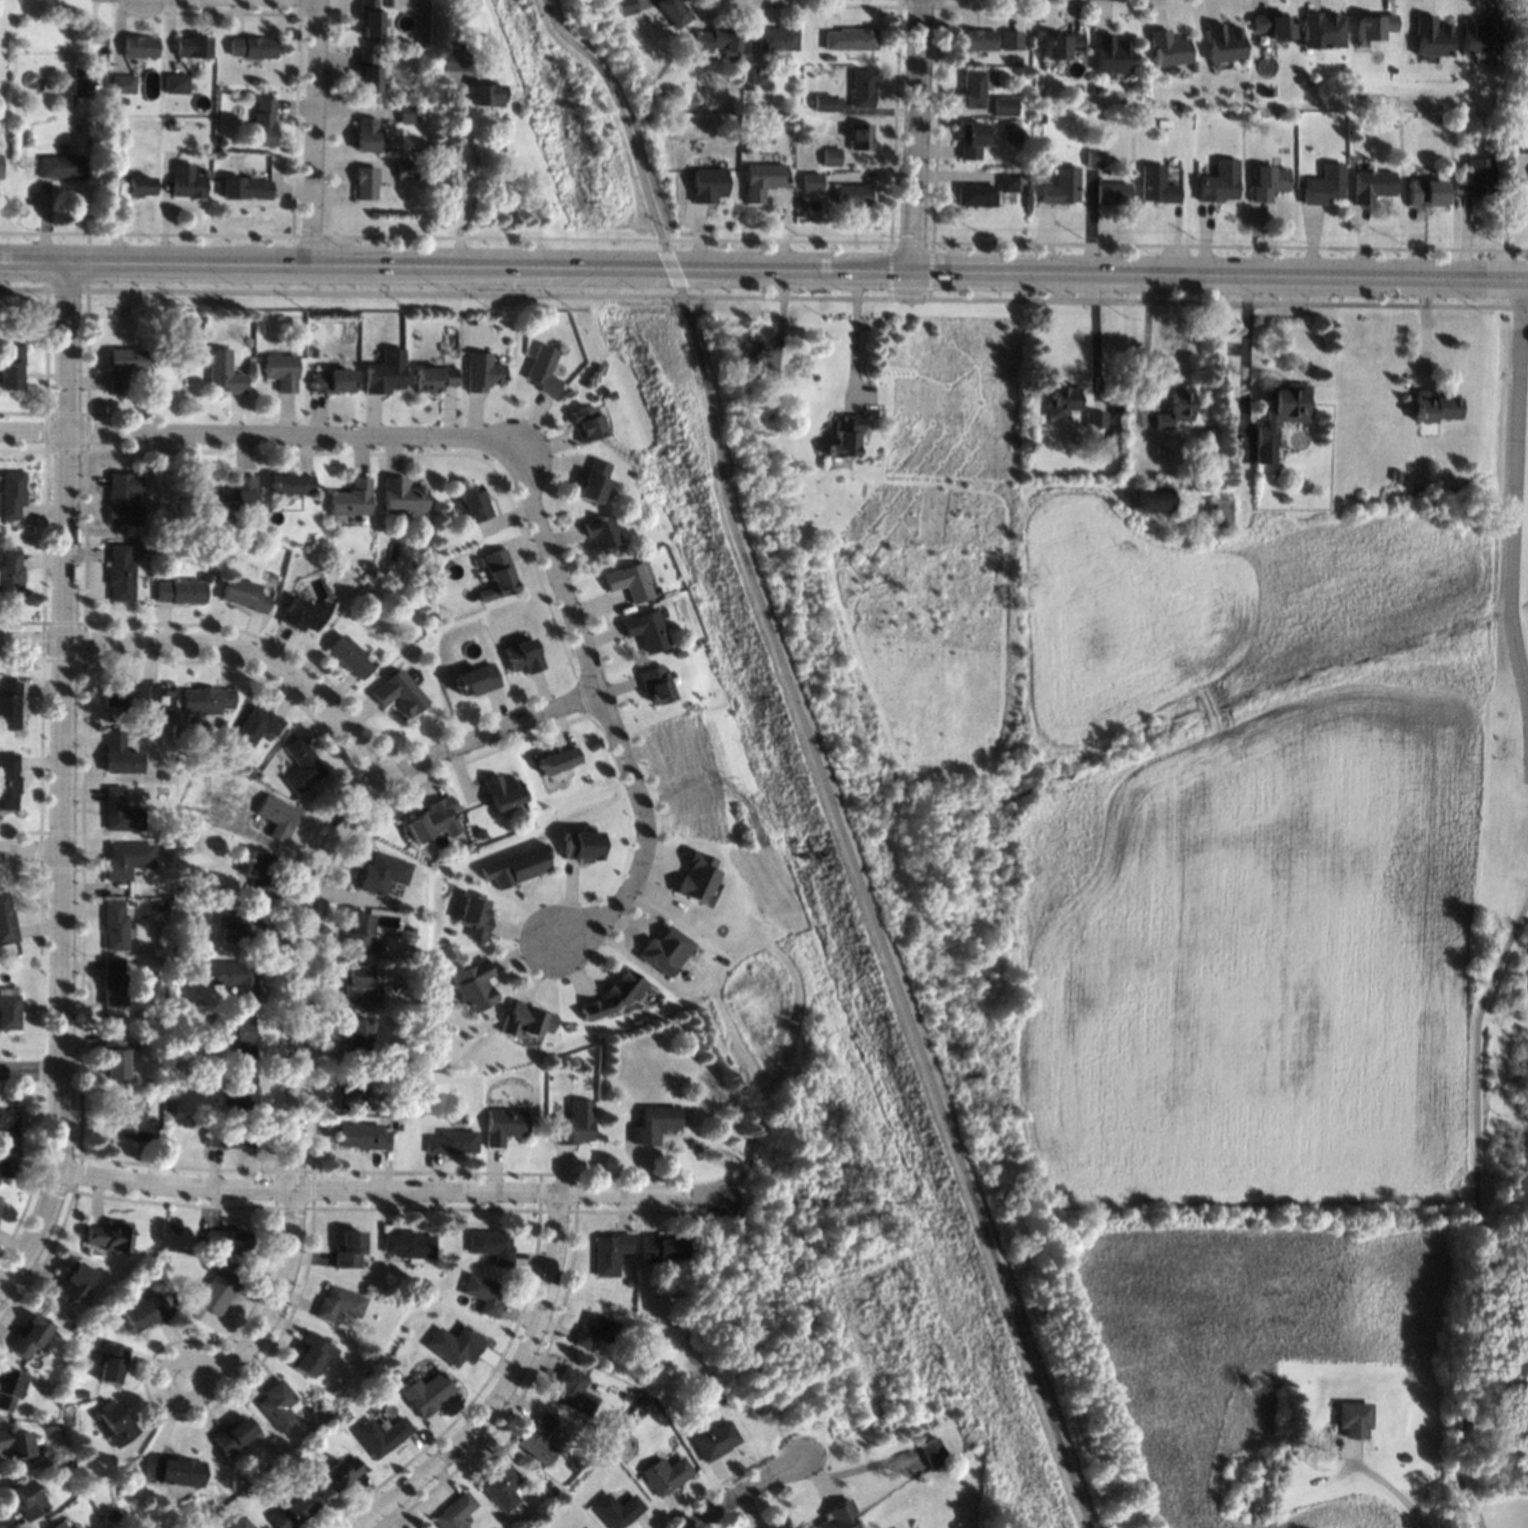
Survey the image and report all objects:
building: (387, 3)
building: (626, 6)
building: (674, 11)
building: (368, 18)
building: (1523, 20)
building: (623, 24)
building: (1372, 25)
building: (1271, 26)
building: (1320, 29)
building: (674, 35)
building: (1430, 35)
building: (1479, 35)
building: (717, 38)
building: (777, 38)
building: (850, 38)
building: (976, 38)
building: (1008, 39)
building: (1222, 42)
building: (1059, 44)
building: (138, 45)
building: (191, 46)
building: (251, 47)
building: (1166, 47)
building: (1109, 53)
building: (387, 56)
building: (829, 57)
building: (1013, 58)
building: (454, 60)
building: (366, 72)
building: (760, 75)
building: (80, 79)
building: (122, 83)
building: (174, 83)
building: (861, 87)
building: (970, 88)
building: (660, 91)
building: (486, 92)
building: (1042, 92)
building: (245, 93)
building: (120, 100)
building: (823, 101)
building: (748, 105)
building: (1001, 105)
building: (406, 113)
building: (1367, 113)
building: (93, 119)
building: (262, 122)
park: (589, 125)
road: (626, 125)
building: (1515, 125)
road: (314, 132)
building: (365, 133)
building: (95, 135)
building: (860, 135)
building: (969, 139)
building: (1518, 143)
building: (748, 147)
road: (914, 149)
building: (831, 156)
building: (1093, 158)
building: (60, 165)
building: (403, 169)
building: (422, 173)
building: (1478, 176)
road: (460, 177)
building: (763, 179)
building: (185, 181)
building: (812, 181)
building: (1218, 181)
building: (1266, 181)
building: (1005, 182)
building: (364, 183)
building: (710, 184)
building: (1155, 184)
building: (1322, 184)
building: (1371, 185)
building: (131, 186)
building: (1062, 186)
building: (244, 187)
building: (1424, 191)
building: (1112, 192)
building: (853, 194)
building: (974, 194)
building: (800, 203)
road: (763, 270)
road: (69, 277)
road: (315, 278)
road: (34, 290)
road: (377, 293)
road: (1106, 302)
building: (260, 328)
road: (1094, 338)
road: (854, 340)
road: (1146, 346)
building: (311, 352)
road: (1243, 358)
building: (122, 366)
building: (12, 368)
building: (751, 369)
building: (281, 371)
building: (481, 371)
building: (544, 371)
building: (384, 372)
building: (224, 373)
building: (434, 379)
building: (332, 382)
building: (1062, 400)
building: (1431, 406)
building: (1174, 407)
building: (770, 416)
building: (1279, 416)
building: (1094, 419)
building: (588, 424)
road: (260, 434)
building: (845, 437)
building: (1106, 445)
building: (1183, 446)
building: (595, 481)
building: (291, 484)
road: (1512, 491)
building: (11, 494)
building: (235, 496)
building: (401, 496)
building: (123, 498)
building: (1149, 499)
building: (349, 500)
building: (474, 504)
building: (636, 508)
building: (1222, 513)
building: (602, 534)
building: (226, 546)
building: (311, 547)
building: (263, 548)
building: (441, 549)
building: (479, 562)
building: (422, 570)
building: (119, 573)
building: (10, 575)
building: (498, 575)
building: (205, 578)
building: (628, 582)
building: (179, 592)
building: (243, 595)
building: (304, 615)
building: (645, 631)
road: (221, 644)
building: (349, 656)
building: (523, 657)
building: (473, 680)
building: (653, 683)
building: (400, 692)
building: (131, 694)
building: (207, 700)
building: (682, 704)
building: (10, 705)
building: (165, 712)
road: (608, 715)
building: (221, 724)
building: (257, 725)
road: (490, 734)
building: (120, 755)
building: (558, 760)
building: (302, 765)
building: (262, 778)
building: (9, 781)
building: (501, 792)
road: (64, 800)
building: (120, 812)
building: (278, 817)
building: (430, 821)
building: (479, 832)
building: (163, 845)
building: (579, 845)
crop: (1245, 847)
road: (32, 851)
building: (127, 860)
building: (515, 866)
building: (258, 872)
building: (382, 874)
building: (695, 878)
park: (865, 896)
road: (866, 902)
building: (475, 915)
building: (7, 920)
building: (116, 924)
building: (241, 925)
building: (358, 932)
building: (410, 933)
building: (664, 949)
road: (296, 972)
park: (1496, 979)
building: (235, 980)
building: (413, 981)
building: (113, 984)
building: (356, 984)
building: (477, 985)
building: (614, 995)
building: (155, 1009)
building: (9, 1012)
building: (526, 1020)
building: (236, 1032)
building: (355, 1037)
building: (409, 1053)
building: (114, 1057)
road: (32, 1061)
building: (430, 1087)
building: (351, 1090)
building: (241, 1092)
building: (199, 1121)
building: (134, 1122)
building: (505, 1124)
building: (575, 1124)
building: (654, 1124)
building: (8, 1131)
building: (363, 1136)
building: (230, 1137)
building: (452, 1142)
building: (7, 1167)
road: (392, 1189)
building: (0, 1206)
building: (0, 1208)
road: (1474, 1210)
building: (110, 1236)
building: (227, 1241)
building: (409, 1245)
building: (491, 1245)
building: (660, 1247)
building: (348, 1249)
building: (610, 1253)
building: (75, 1282)
building: (213, 1294)
road: (282, 1294)
building: (483, 1294)
building: (339, 1303)
building: (145, 1312)
building: (108, 1315)
building: (594, 1331)
building: (30, 1337)
building: (454, 1345)
building: (311, 1353)
building: (111, 1362)
building: (639, 1377)
road: (497, 1381)
road: (167, 1383)
building: (10, 1388)
building: (573, 1391)
building: (83, 1393)
building: (426, 1393)
building: (719, 1401)
building: (278, 1405)
building: (1351, 1418)
building: (118, 1424)
building: (382, 1435)
building: (233, 1436)
building: (539, 1439)
building: (715, 1440)
building: (15, 1443)
building: (630, 1450)
building: (933, 1453)
building: (174, 1470)
building: (339, 1473)
building: (666, 1474)
building: (503, 1485)
building: (553, 1489)
road: (738, 1489)
road: (1395, 1496)
building: (28, 1500)
building: (55, 1506)
building: (293, 1510)
building: (618, 1510)
building: (456, 1512)
building: (113, 1515)
building: (838, 1517)
building: (240, 1523)
building: (59, 1525)
building: (205, 1527)
building: (767, 1527)

